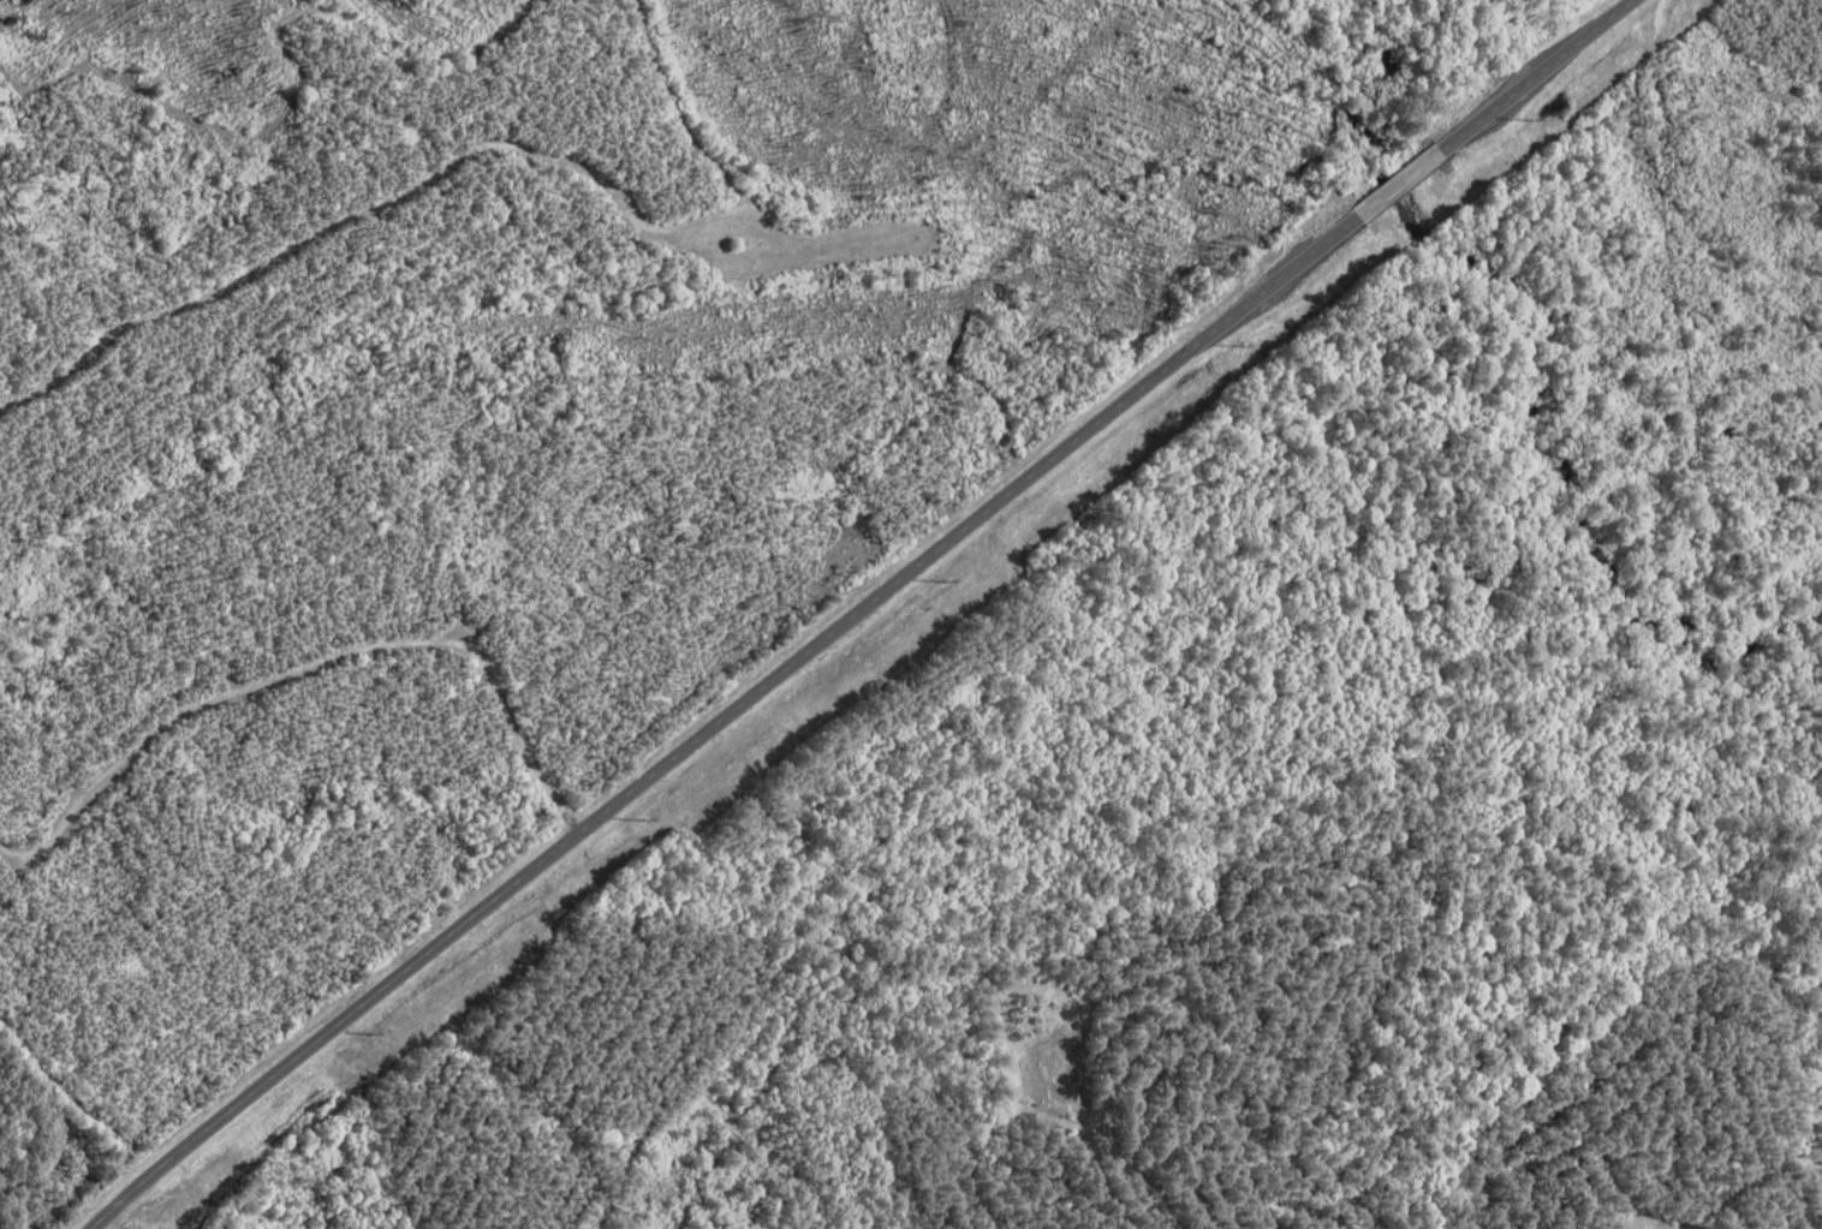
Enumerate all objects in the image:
road: (1538, 74)
road: (1401, 183)
road: (722, 718)

